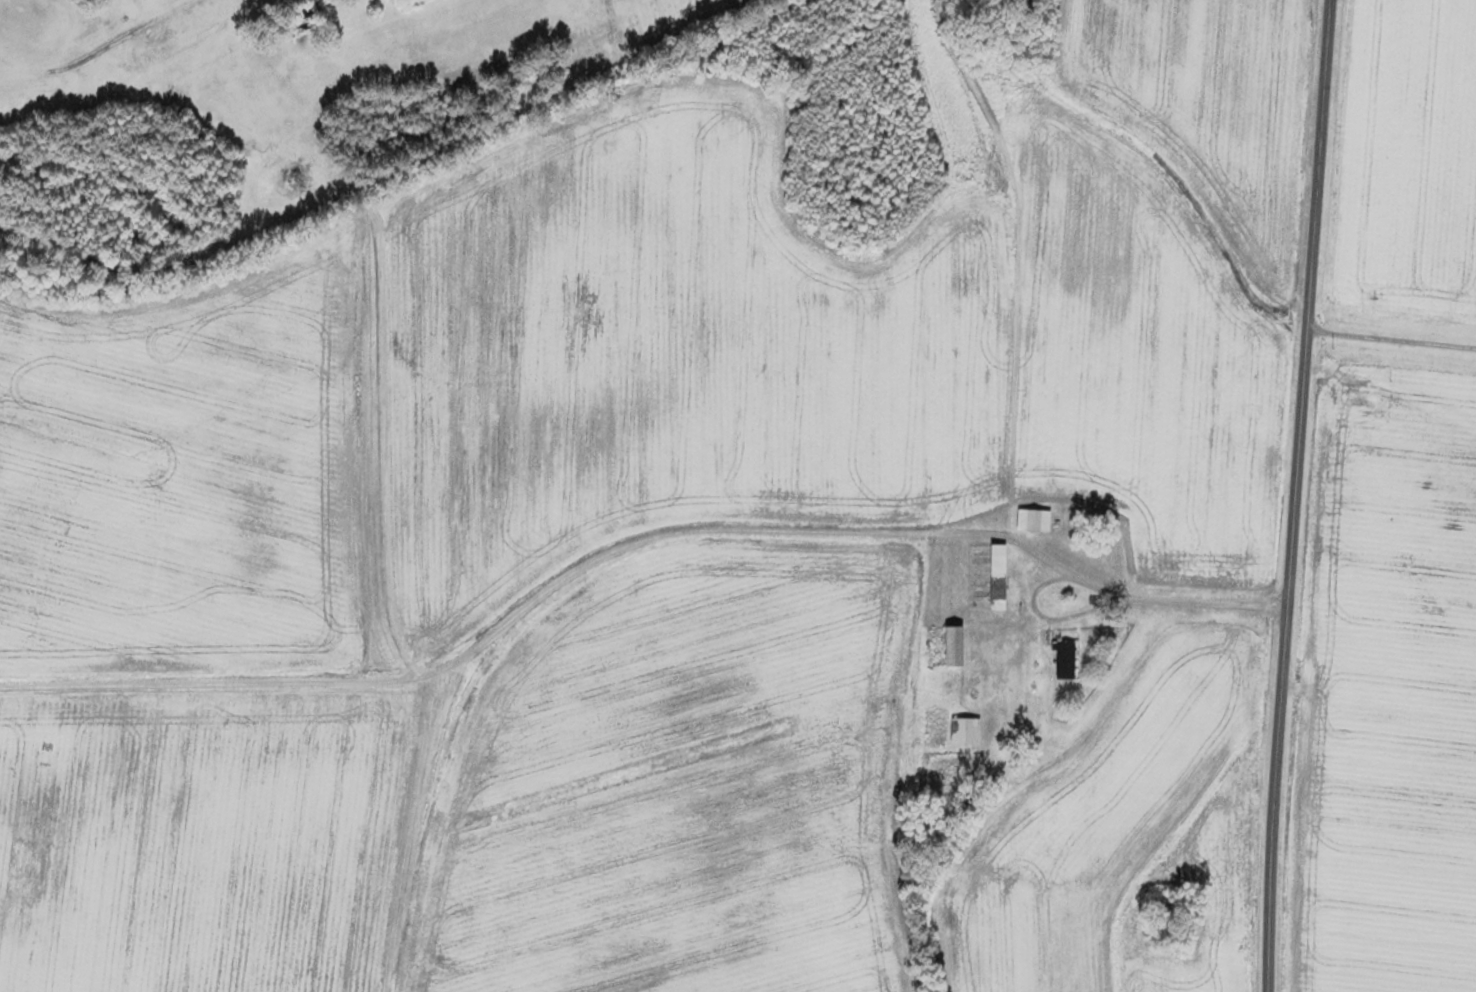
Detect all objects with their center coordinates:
road: (1300, 495)
building: (1036, 518)
building: (1001, 575)
building: (1066, 658)
building: (967, 728)

